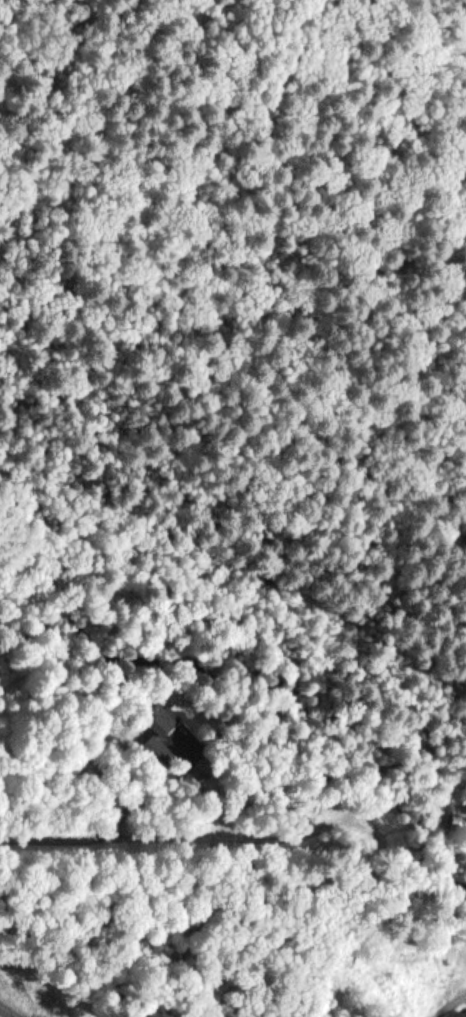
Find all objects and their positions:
building: (157, 721)
road: (103, 836)
road: (448, 1004)
road: (4, 1014)
building: (463, 1014)

